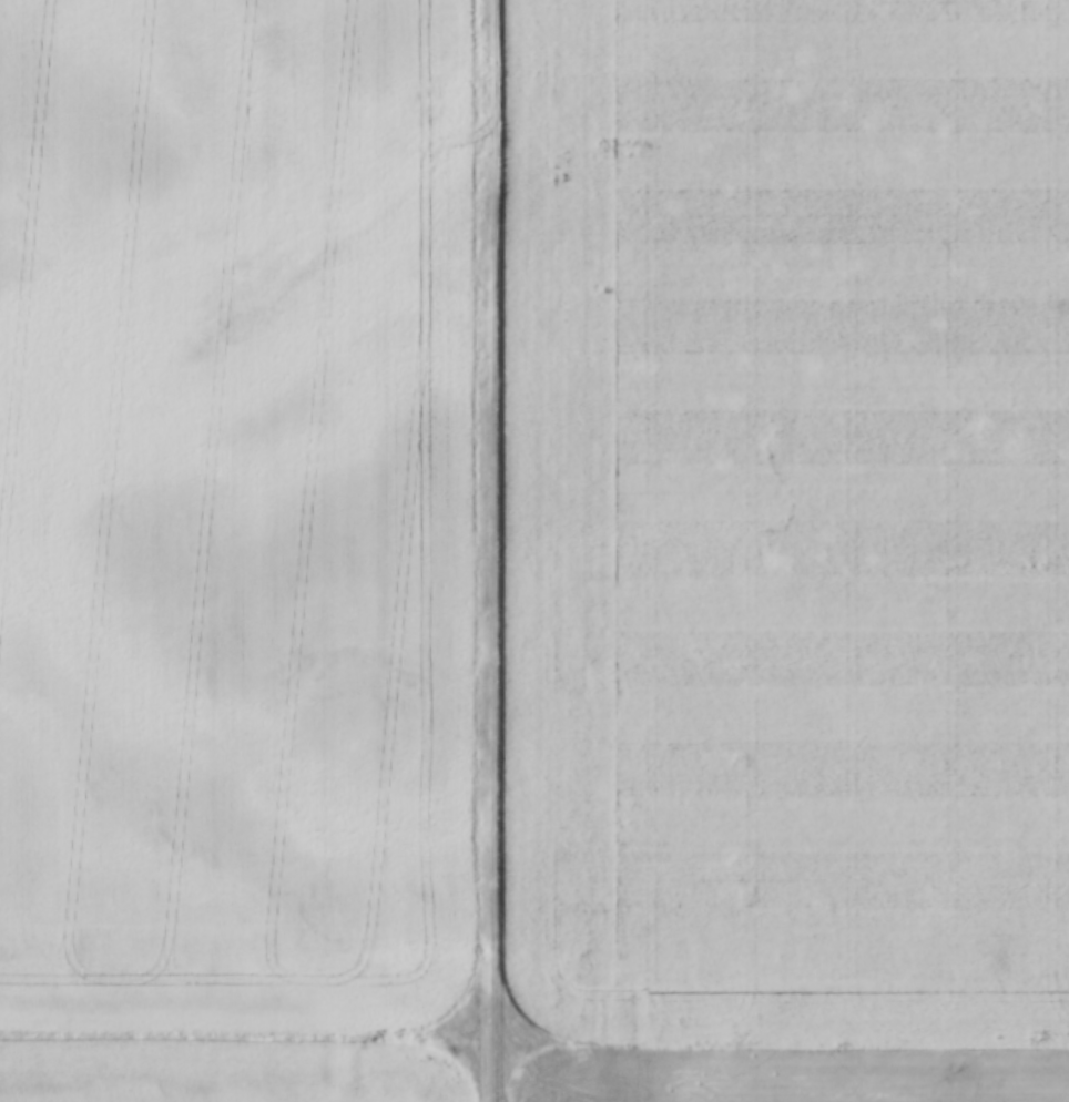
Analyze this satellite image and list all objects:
road: (495, 551)

